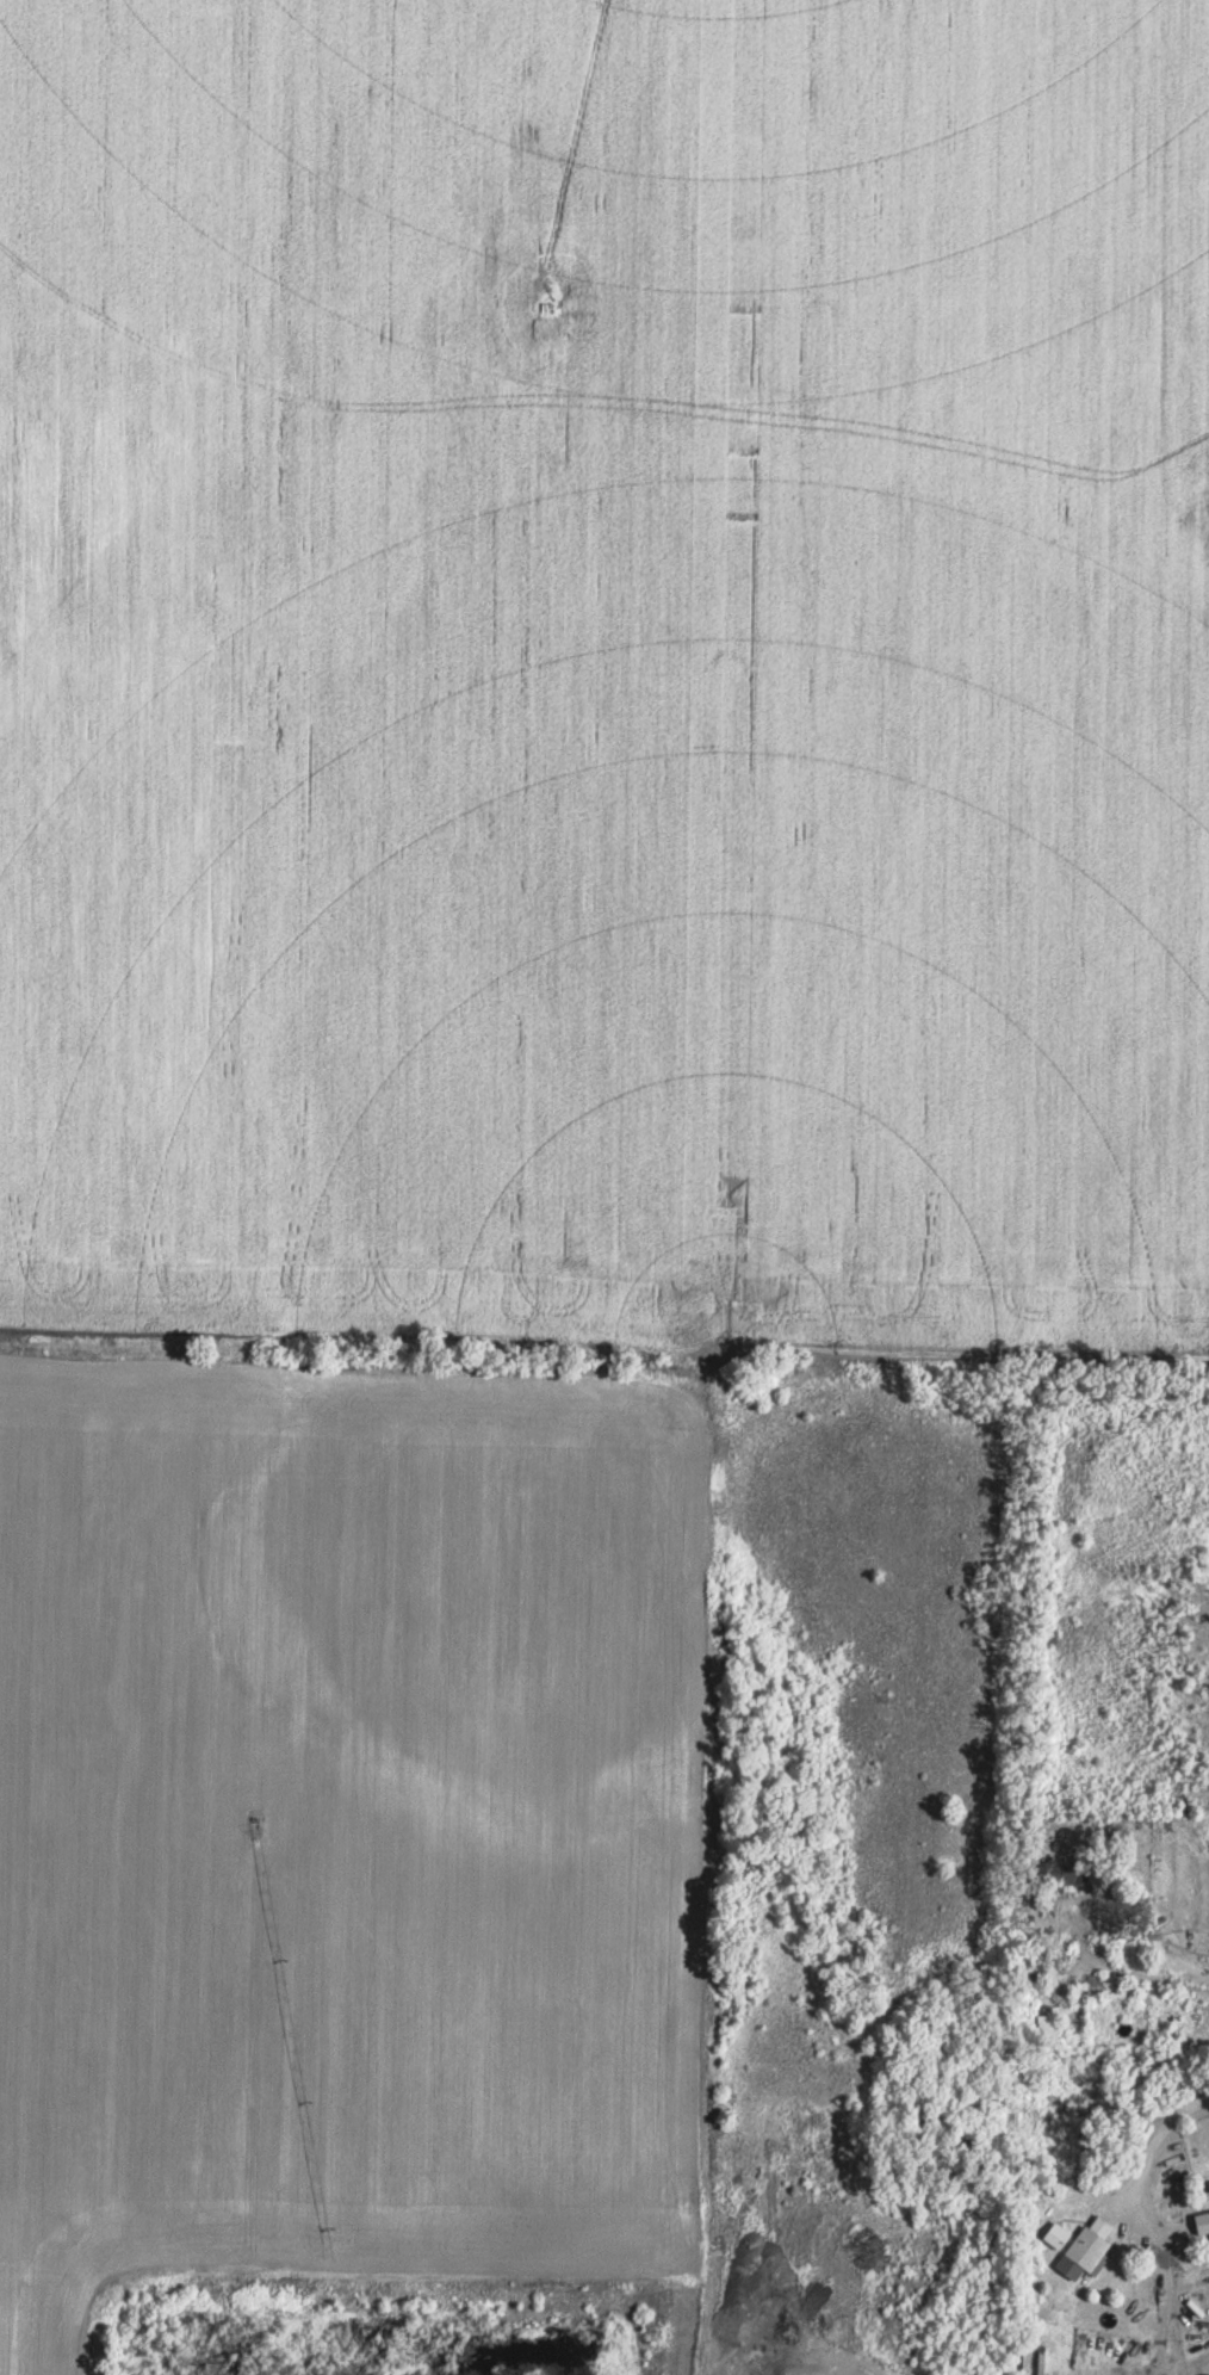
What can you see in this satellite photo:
building: (1058, 1872)
building: (1095, 1986)
building: (1199, 2220)
building: (1084, 2247)

